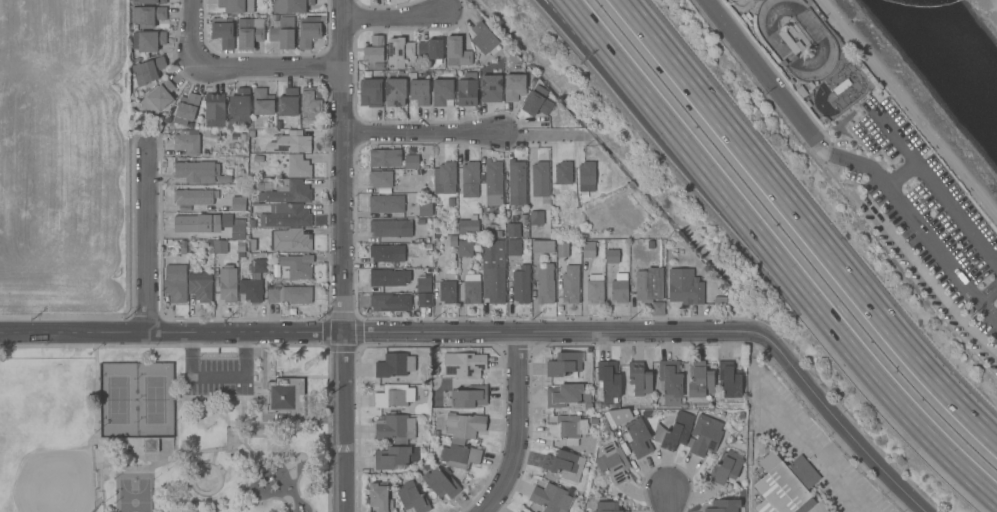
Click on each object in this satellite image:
building: (755, 1)
road: (996, 1)
building: (152, 2)
building: (295, 5)
building: (236, 6)
building: (147, 15)
road: (395, 17)
road: (588, 22)
building: (309, 30)
road: (195, 32)
building: (222, 32)
building: (282, 32)
building: (249, 33)
building: (148, 40)
building: (484, 40)
building: (789, 41)
building: (431, 49)
building: (375, 50)
building: (457, 50)
building: (398, 52)
road: (269, 64)
road: (761, 69)
building: (146, 71)
building: (841, 86)
building: (514, 87)
building: (491, 88)
building: (419, 90)
building: (442, 90)
building: (466, 91)
building: (395, 92)
building: (370, 93)
building: (158, 98)
building: (537, 102)
building: (288, 103)
building: (311, 103)
building: (263, 104)
building: (239, 107)
building: (186, 108)
building: (214, 110)
road: (419, 132)
road: (537, 135)
building: (291, 142)
building: (186, 144)
park: (63, 156)
building: (385, 158)
building: (410, 162)
building: (294, 166)
building: (195, 172)
building: (563, 173)
road: (899, 173)
building: (445, 177)
building: (592, 178)
building: (383, 179)
building: (470, 179)
building: (540, 180)
building: (493, 182)
building: (516, 182)
road: (936, 189)
building: (287, 192)
building: (193, 197)
building: (238, 203)
building: (386, 203)
road: (903, 207)
building: (425, 209)
building: (286, 216)
building: (536, 220)
building: (209, 224)
building: (467, 226)
road: (802, 226)
building: (390, 228)
building: (512, 230)
road: (151, 236)
building: (290, 240)
building: (219, 246)
building: (513, 247)
building: (543, 247)
building: (465, 249)
building: (562, 249)
building: (588, 249)
building: (386, 253)
road: (345, 255)
building: (612, 256)
building: (258, 265)
building: (296, 266)
building: (279, 271)
building: (493, 271)
road: (795, 277)
building: (388, 278)
building: (175, 283)
building: (227, 284)
building: (423, 284)
building: (544, 284)
building: (570, 285)
building: (200, 286)
building: (520, 286)
building: (684, 287)
building: (472, 288)
building: (595, 288)
building: (619, 288)
building: (650, 289)
road: (989, 289)
building: (250, 290)
building: (447, 292)
road: (938, 293)
building: (290, 295)
building: (424, 300)
building: (390, 302)
road: (989, 305)
road: (500, 336)
building: (395, 365)
building: (463, 365)
building: (563, 365)
building: (436, 371)
parking lot: (215, 377)
road: (216, 377)
building: (729, 379)
building: (638, 380)
building: (699, 380)
building: (608, 381)
building: (670, 382)
building: (566, 395)
building: (286, 396)
building: (394, 396)
building: (468, 397)
building: (588, 406)
building: (616, 417)
building: (594, 421)
building: (464, 425)
building: (396, 428)
road: (519, 428)
building: (567, 429)
road: (794, 430)
park: (161, 431)
building: (674, 431)
building: (705, 437)
building: (638, 438)
building: (142, 445)
building: (459, 454)
building: (394, 457)
building: (612, 463)
building: (563, 464)
building: (726, 467)
building: (440, 481)
building: (785, 485)
building: (379, 498)
building: (412, 498)
building: (551, 498)
road: (669, 503)
building: (725, 506)
building: (608, 507)
building: (521, 511)

